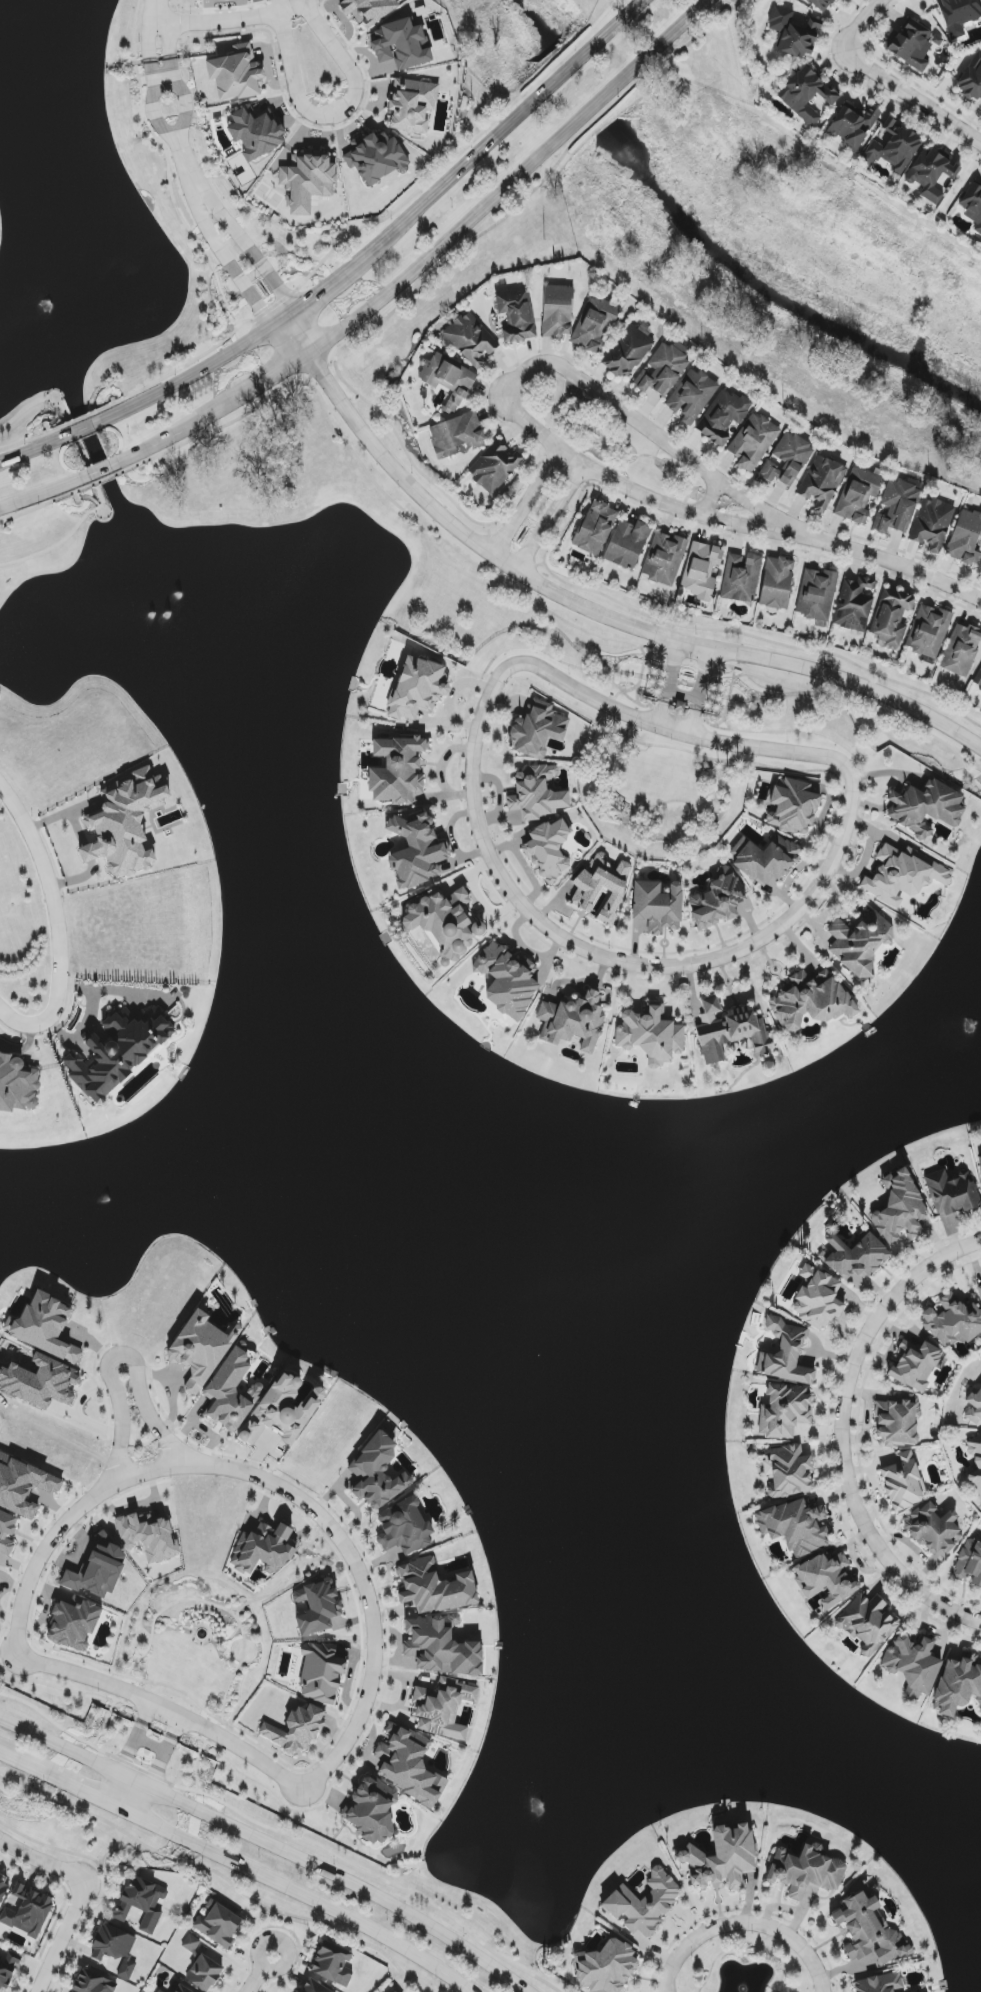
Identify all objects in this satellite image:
building: (822, 4)
building: (369, 9)
road: (157, 11)
building: (958, 15)
road: (219, 21)
road: (859, 22)
road: (158, 23)
building: (912, 44)
building: (400, 45)
building: (236, 73)
building: (972, 79)
building: (806, 94)
road: (182, 98)
road: (912, 101)
road: (154, 102)
building: (412, 105)
road: (346, 109)
building: (853, 125)
road: (504, 131)
building: (255, 134)
building: (893, 147)
building: (375, 157)
road: (189, 167)
building: (932, 175)
building: (307, 180)
road: (513, 181)
building: (973, 205)
road: (365, 226)
road: (251, 253)
road: (232, 263)
road: (324, 293)
fountain: (43, 304)
building: (557, 311)
building: (515, 315)
building: (594, 325)
building: (628, 351)
building: (663, 369)
road: (190, 376)
building: (448, 378)
road: (270, 380)
road: (511, 383)
building: (692, 396)
road: (54, 401)
road: (25, 410)
building: (723, 418)
road: (78, 421)
road: (229, 424)
road: (48, 429)
road: (83, 430)
building: (456, 435)
road: (172, 436)
road: (33, 438)
building: (753, 442)
road: (402, 447)
road: (36, 448)
road: (83, 453)
building: (787, 460)
building: (494, 467)
road: (100, 471)
road: (104, 480)
building: (822, 482)
road: (44, 492)
building: (858, 496)
road: (77, 497)
road: (522, 500)
road: (45, 504)
building: (897, 506)
road: (101, 509)
road: (548, 518)
building: (932, 524)
building: (595, 528)
building: (966, 538)
building: (627, 544)
road: (57, 545)
road: (511, 550)
road: (442, 558)
building: (664, 558)
road: (883, 559)
building: (703, 571)
building: (741, 577)
fountain: (178, 582)
building: (776, 583)
building: (817, 595)
road: (589, 601)
building: (855, 604)
fountain: (140, 606)
fountain: (168, 606)
building: (891, 618)
building: (928, 631)
road: (753, 638)
building: (961, 650)
road: (667, 677)
building: (977, 681)
road: (704, 688)
building: (417, 689)
road: (840, 698)
building: (537, 730)
building: (397, 770)
road: (3, 794)
building: (536, 794)
building: (792, 808)
building: (926, 808)
building: (125, 823)
road: (485, 847)
building: (549, 849)
building: (416, 850)
building: (764, 858)
building: (900, 876)
building: (587, 889)
building: (717, 900)
building: (658, 906)
building: (445, 923)
road: (58, 924)
building: (861, 942)
building: (506, 981)
building: (811, 1001)
building: (711, 1005)
building: (573, 1021)
fountain: (968, 1030)
building: (733, 1034)
building: (651, 1035)
building: (119, 1052)
building: (17, 1085)
building: (980, 1163)
building: (952, 1192)
fountain: (106, 1198)
building: (900, 1207)
building: (854, 1255)
building: (979, 1291)
building: (817, 1298)
building: (953, 1321)
building: (44, 1327)
building: (199, 1350)
building: (785, 1354)
road: (112, 1360)
building: (915, 1363)
building: (40, 1382)
building: (232, 1392)
building: (974, 1407)
building: (283, 1410)
building: (784, 1411)
building: (897, 1421)
road: (841, 1431)
building: (975, 1463)
building: (788, 1471)
building: (375, 1473)
building: (903, 1483)
road: (270, 1484)
building: (24, 1485)
building: (795, 1526)
building: (405, 1527)
building: (933, 1528)
building: (7, 1532)
building: (148, 1535)
building: (263, 1549)
building: (970, 1562)
building: (825, 1579)
building: (434, 1588)
building: (299, 1596)
building: (318, 1609)
building: (868, 1623)
building: (74, 1624)
building: (440, 1647)
building: (913, 1665)
building: (320, 1673)
building: (957, 1686)
building: (441, 1706)
building: (980, 1709)
road: (165, 1711)
building: (296, 1729)
road: (134, 1737)
road: (149, 1746)
road: (165, 1752)
road: (15, 1758)
building: (408, 1765)
road: (73, 1784)
road: (124, 1790)
building: (371, 1810)
road: (282, 1834)
road: (268, 1843)
road: (43, 1859)
building: (723, 1859)
building: (806, 1872)
road: (218, 1873)
building: (3, 1887)
road: (296, 1892)
building: (139, 1903)
building: (644, 1903)
road: (743, 1910)
building: (26, 1911)
road: (743, 1922)
building: (218, 1924)
road: (283, 1927)
building: (869, 1931)
road: (64, 1936)
building: (191, 1944)
building: (115, 1950)
road: (745, 1952)
road: (259, 1959)
building: (333, 1964)
building: (606, 1967)
building: (5, 1974)
road: (255, 1979)
building: (879, 1983)
building: (92, 1984)
building: (314, 1987)
building: (178, 1988)
building: (161, 1990)
building: (395, 1991)
fountain: (742, 1991)

